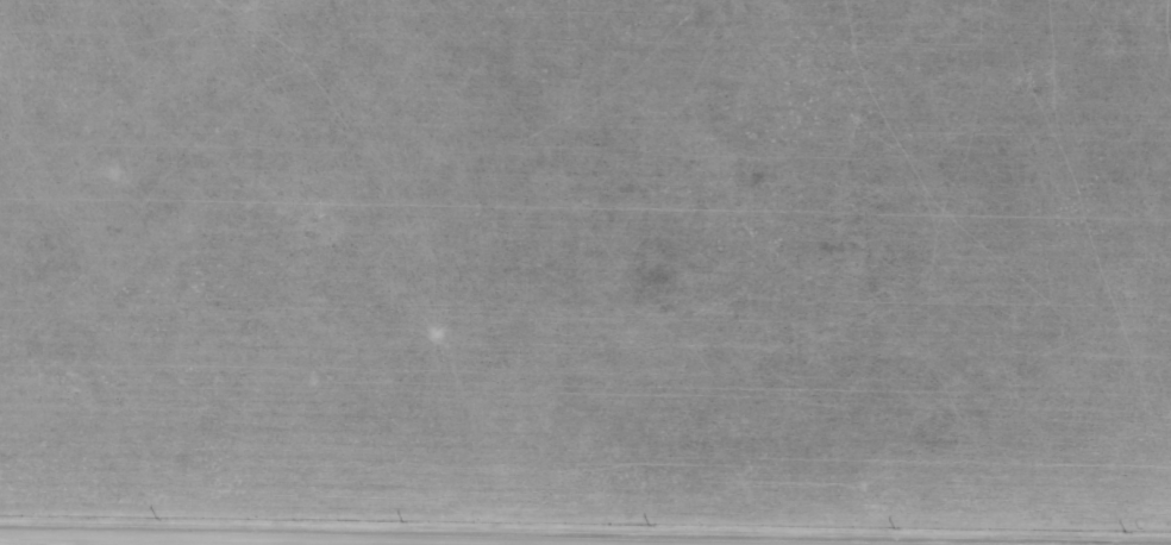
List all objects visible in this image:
road: (225, 541)

